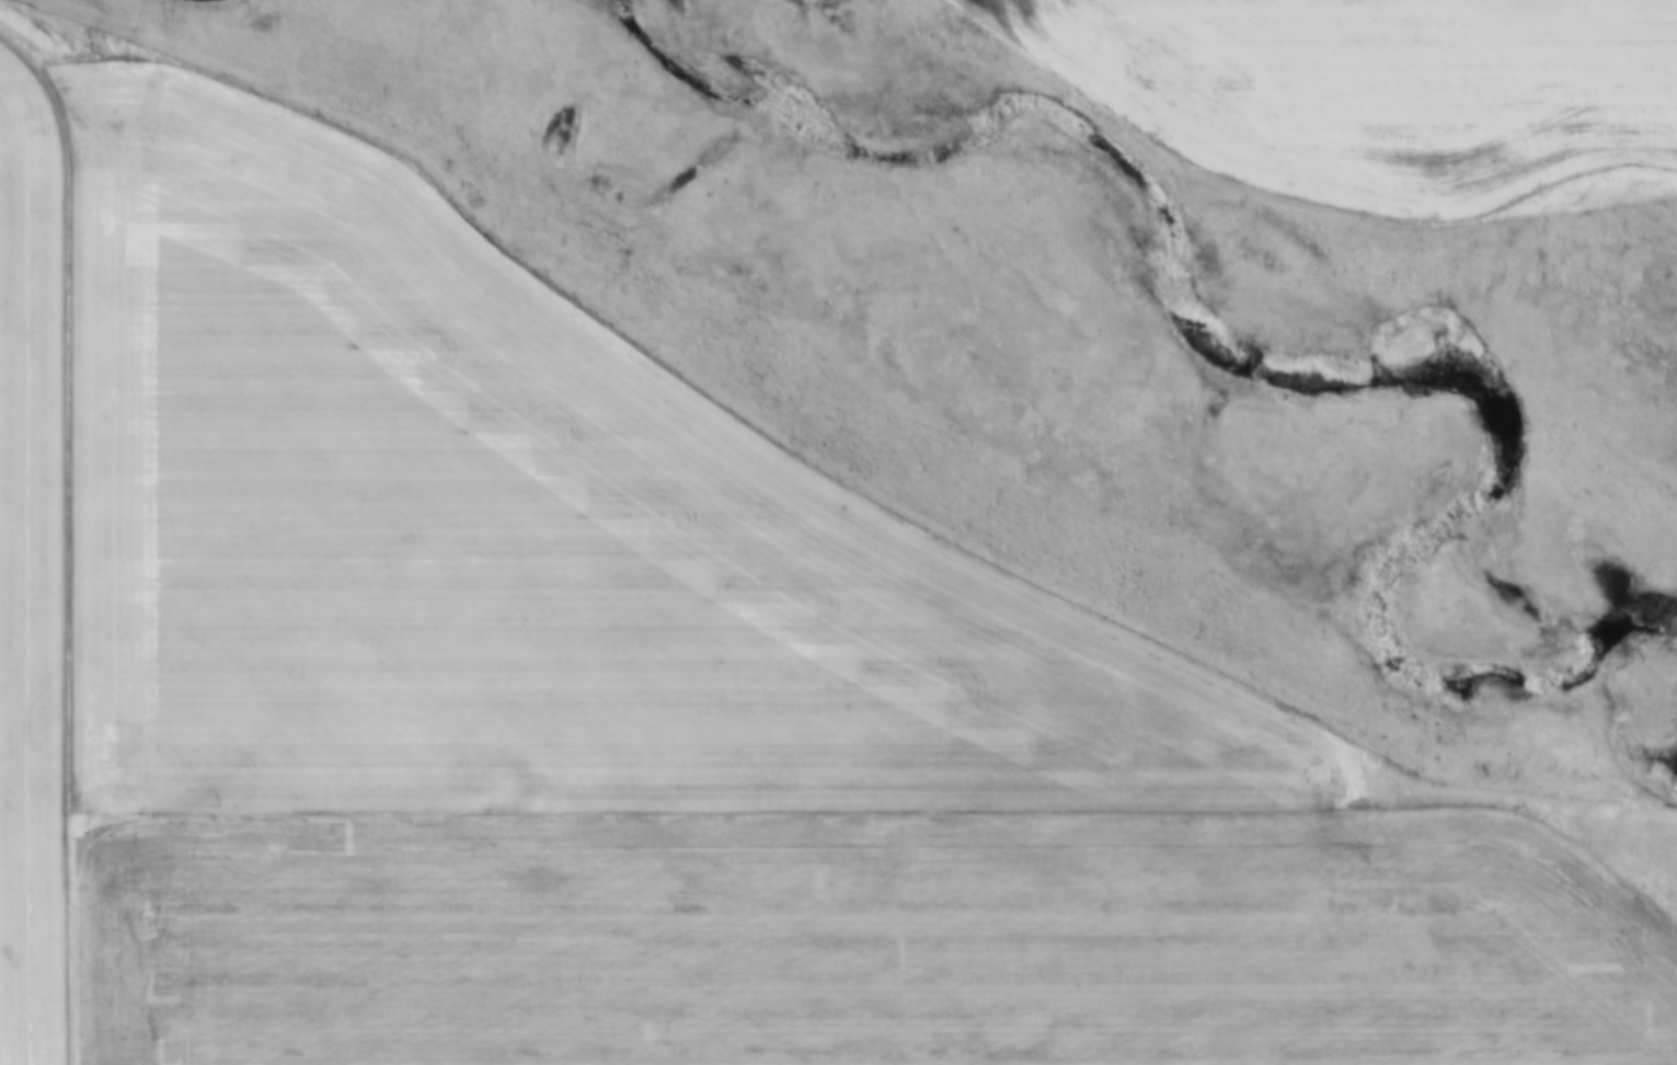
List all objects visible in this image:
road: (74, 517)

